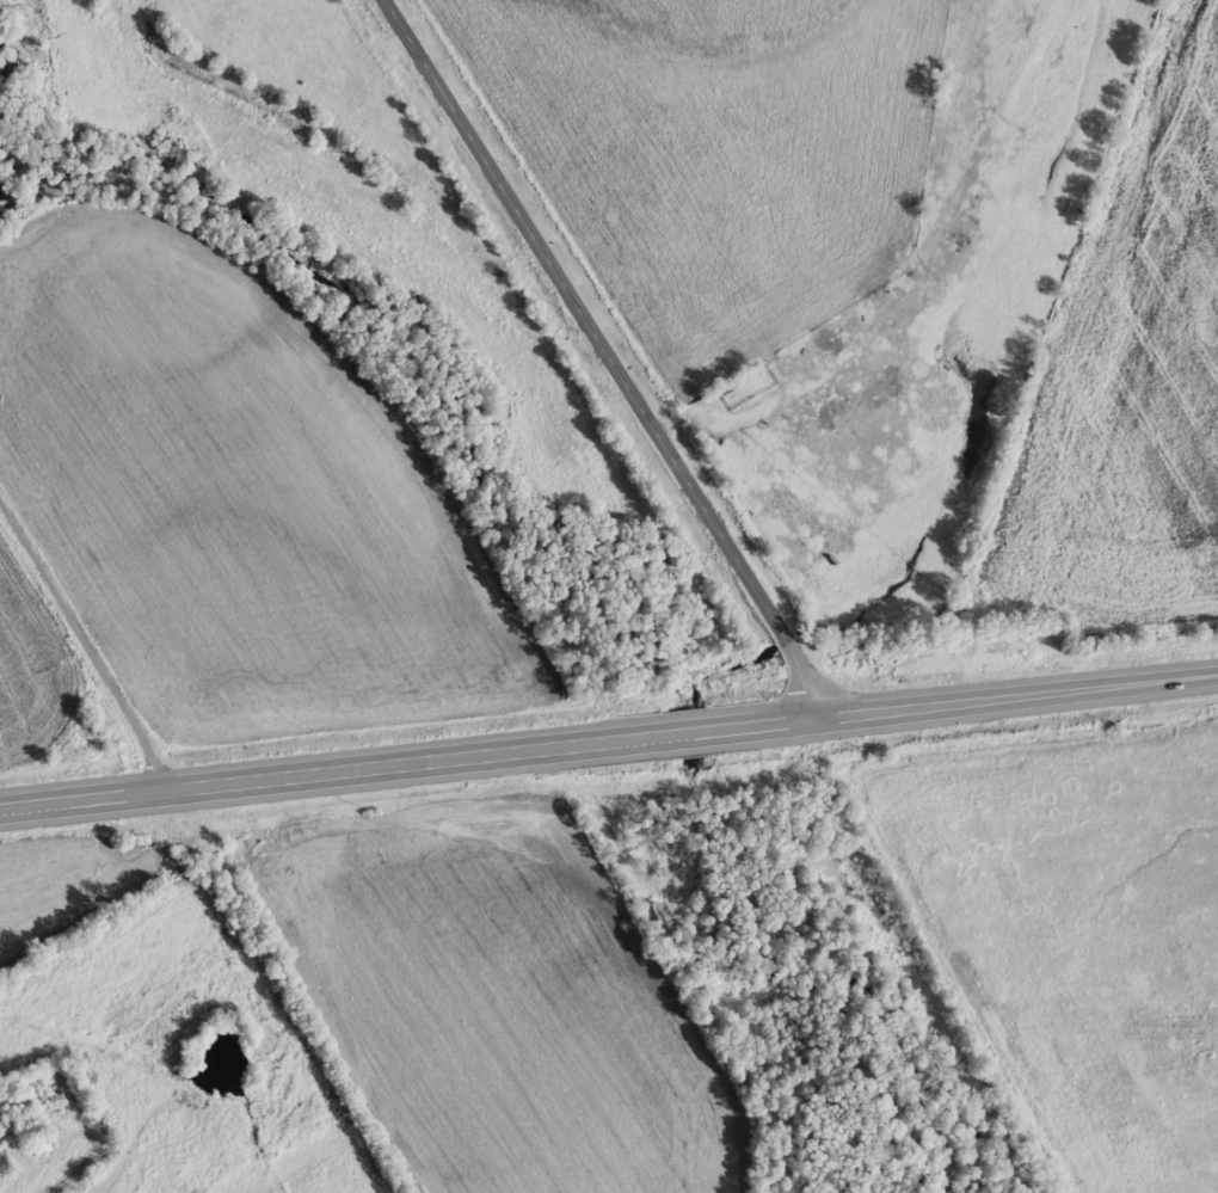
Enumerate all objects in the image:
road: (607, 357)
road: (88, 635)
road: (1020, 699)
road: (410, 758)

